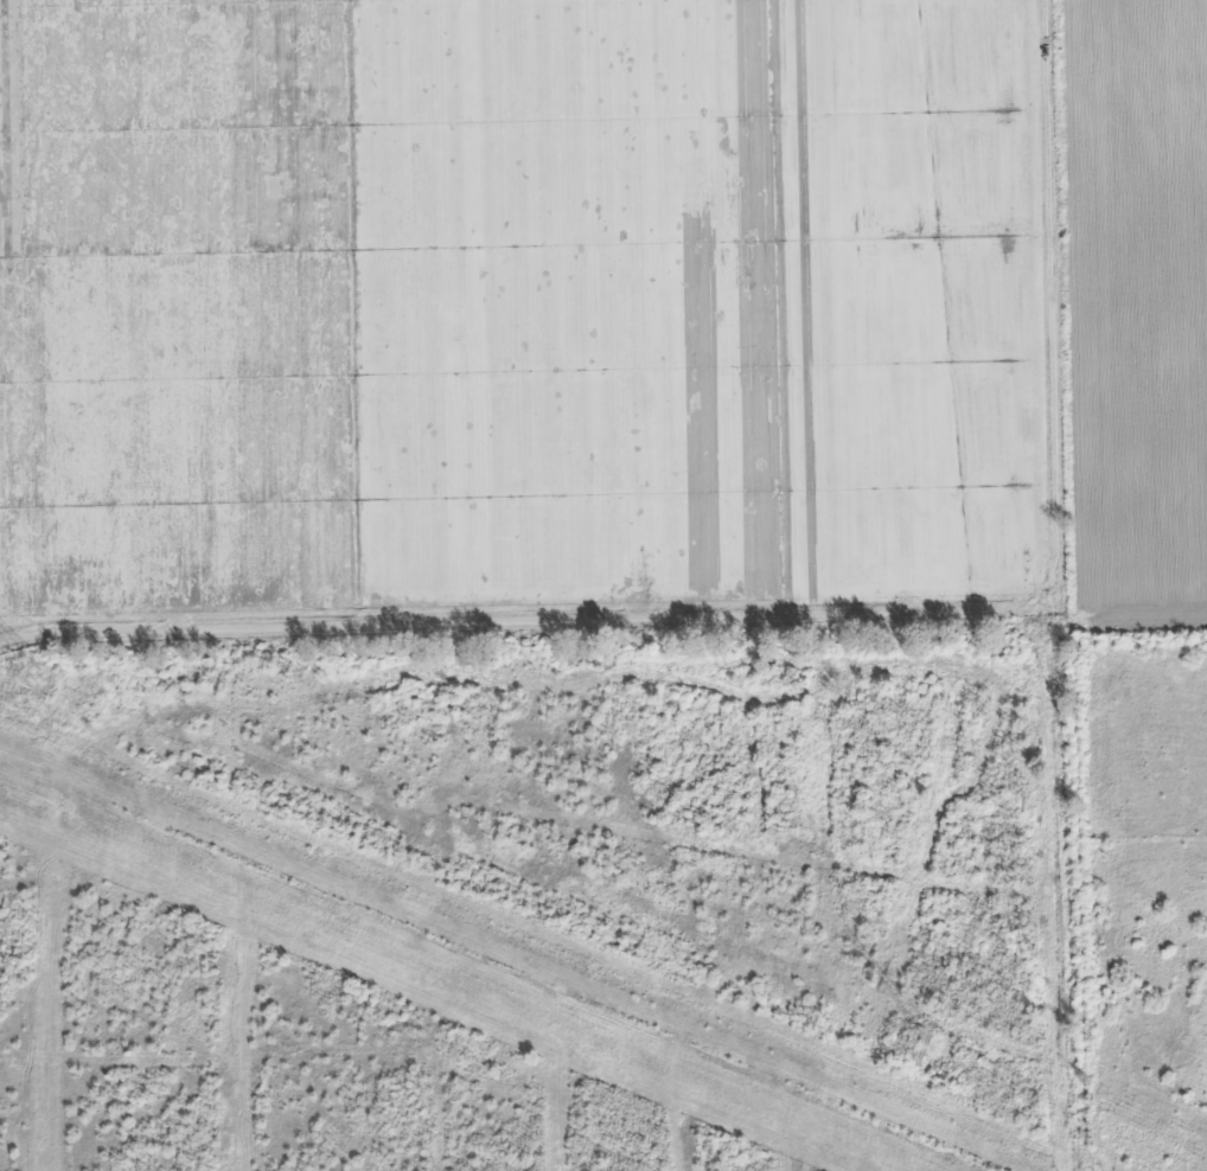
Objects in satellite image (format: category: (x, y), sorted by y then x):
power tower: (32, 678)
power tower: (932, 1043)

